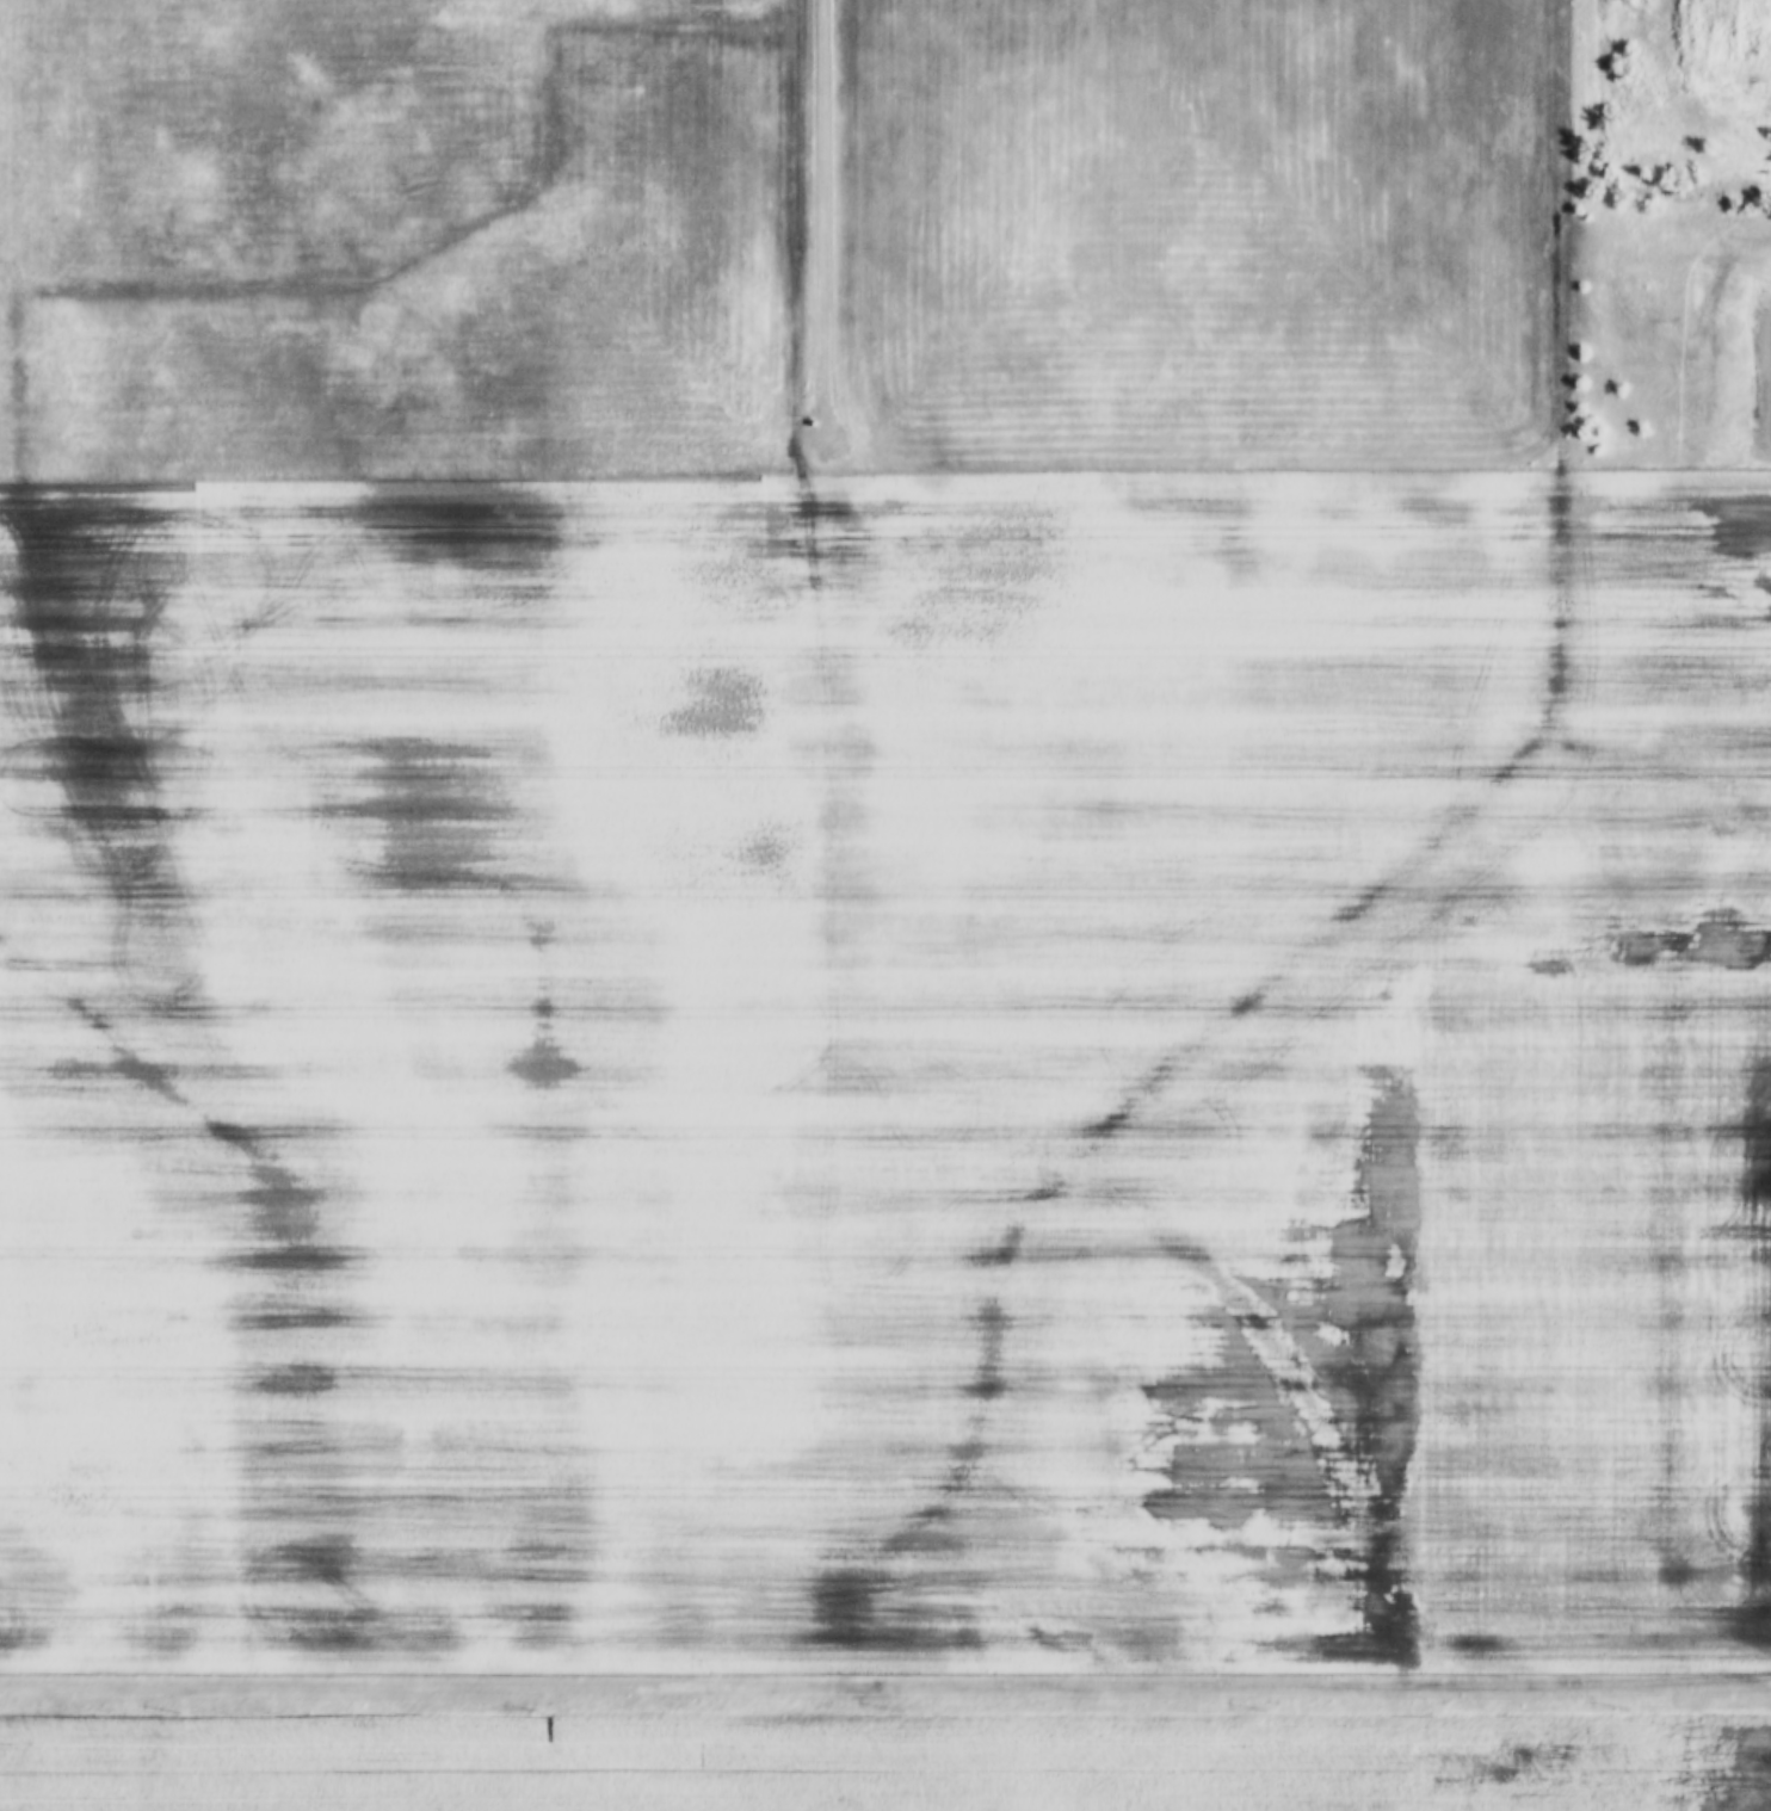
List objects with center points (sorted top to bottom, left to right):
crop: (857, 848)
crop: (882, 1763)

